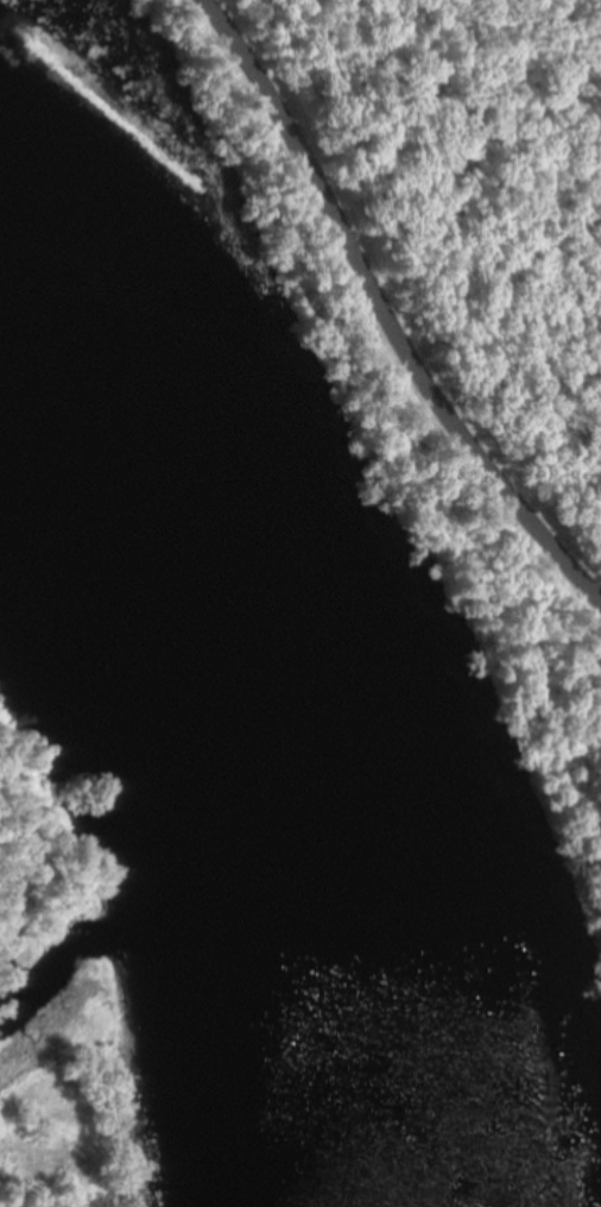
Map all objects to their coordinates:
road: (386, 308)
river: (102, 451)
river: (299, 904)

